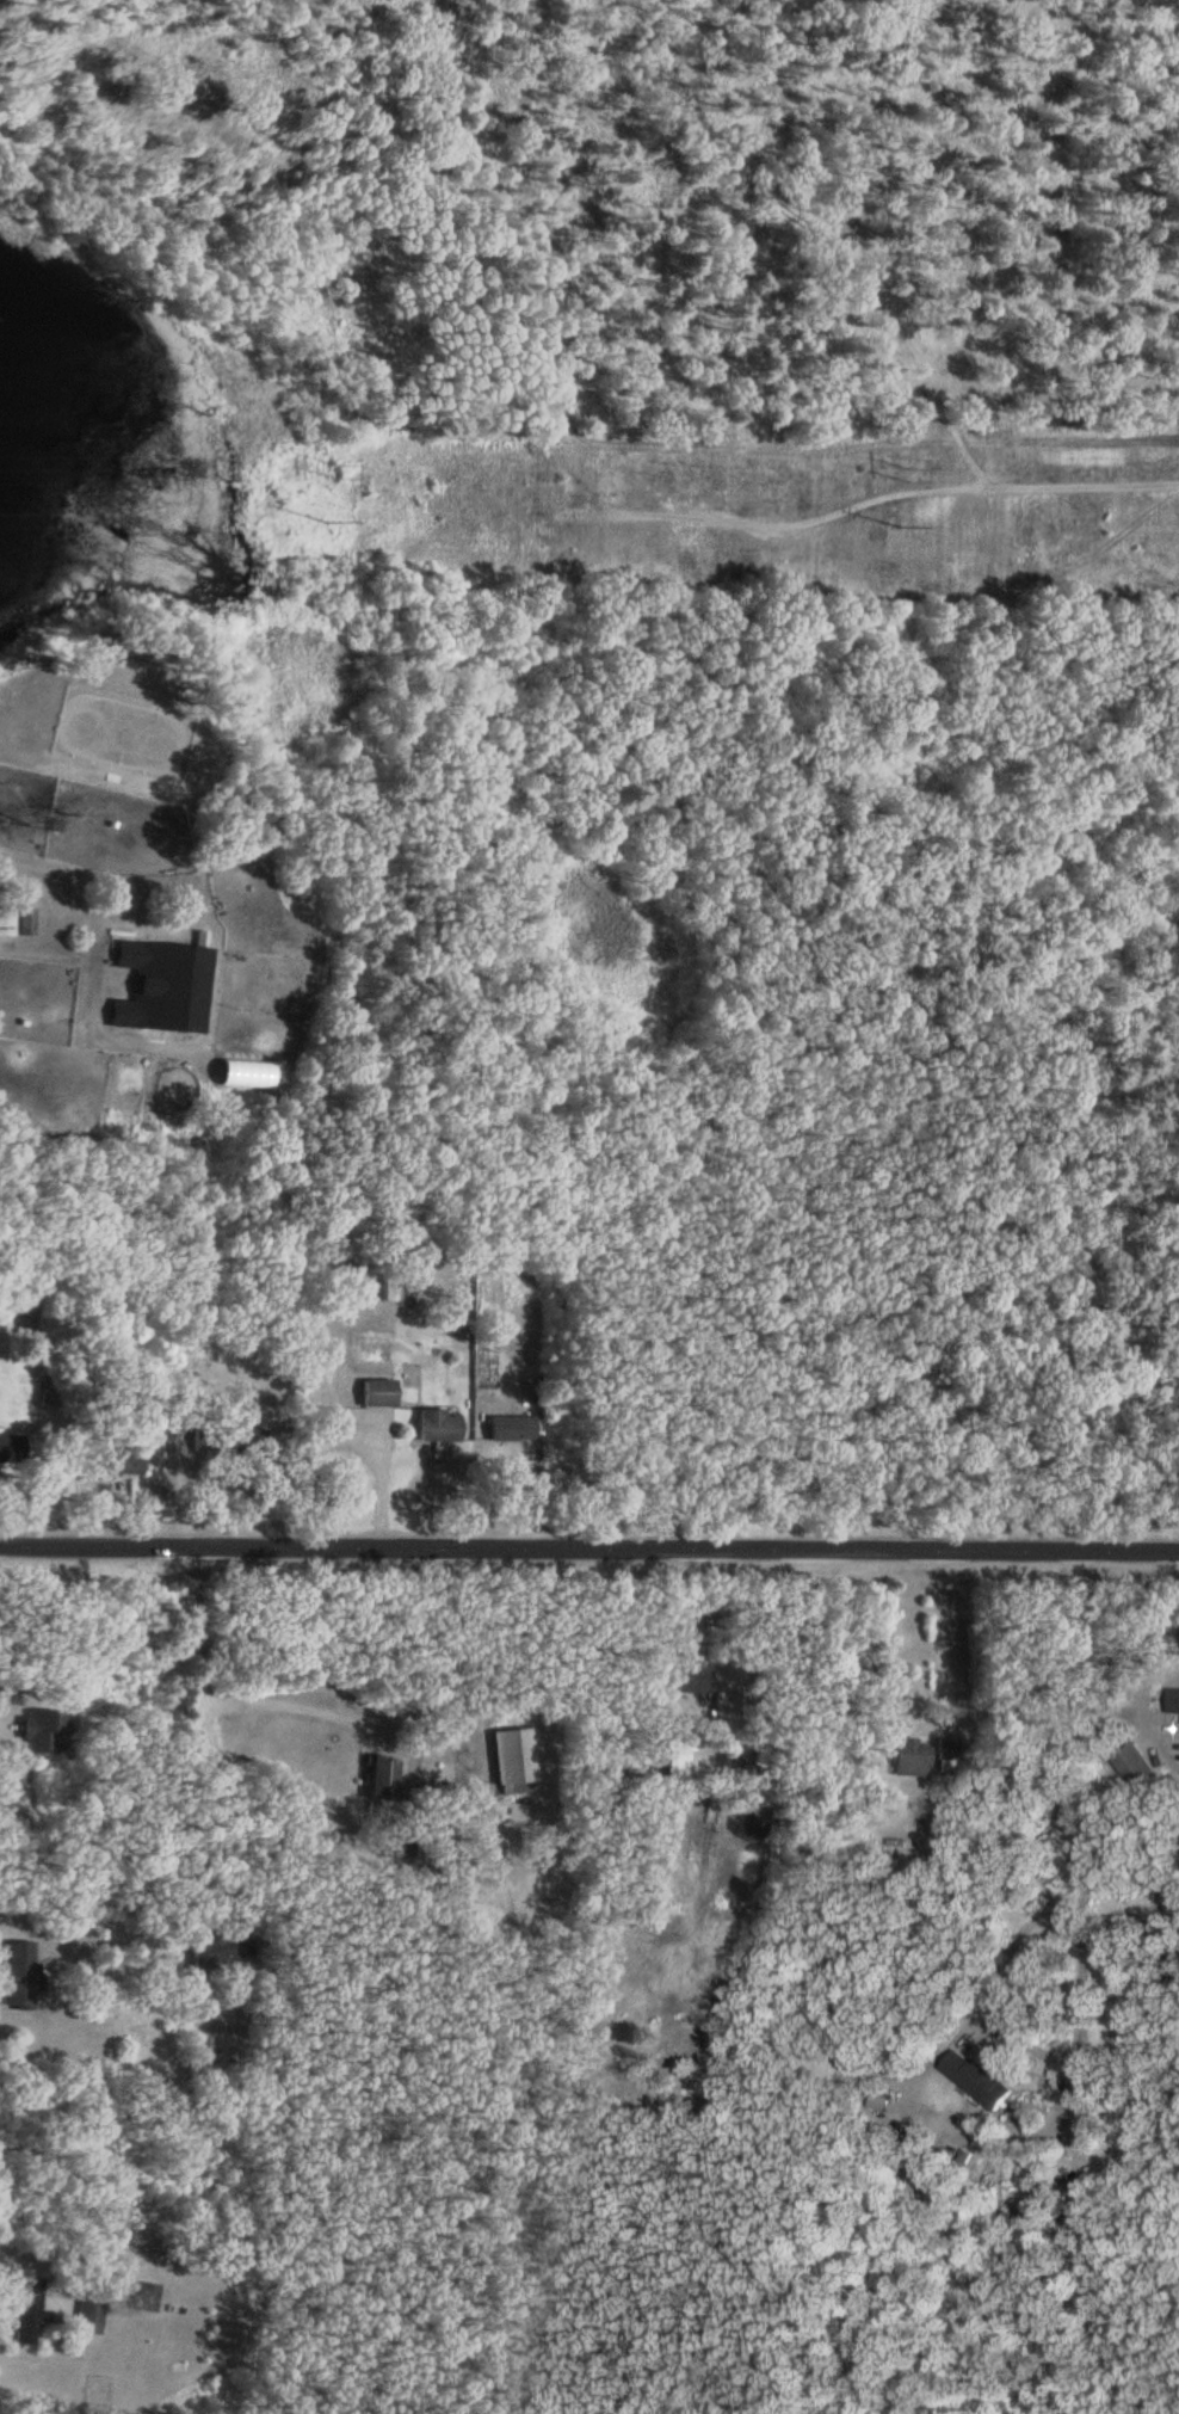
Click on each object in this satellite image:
power tower: (333, 470)
power tower: (906, 474)
power tower: (333, 522)
power tower: (905, 524)
road: (66, 872)
building: (25, 919)
building: (6, 920)
building: (161, 986)
building: (389, 1287)
building: (378, 1392)
building: (439, 1425)
building: (511, 1428)
building: (228, 1439)
building: (11, 1447)
building: (117, 1460)
road: (588, 1550)
road: (1149, 1664)
building: (689, 1673)
building: (1174, 1700)
road: (204, 1719)
building: (43, 1729)
road: (408, 1738)
road: (464, 1748)
building: (946, 1754)
building: (912, 1757)
building: (513, 1759)
building: (1136, 1763)
building: (382, 1779)
road: (1074, 1799)
building: (759, 1821)
building: (220, 1948)
building: (20, 1975)
building: (983, 2077)
road: (27, 2261)
building: (146, 2297)
building: (29, 2310)
building: (89, 2317)

